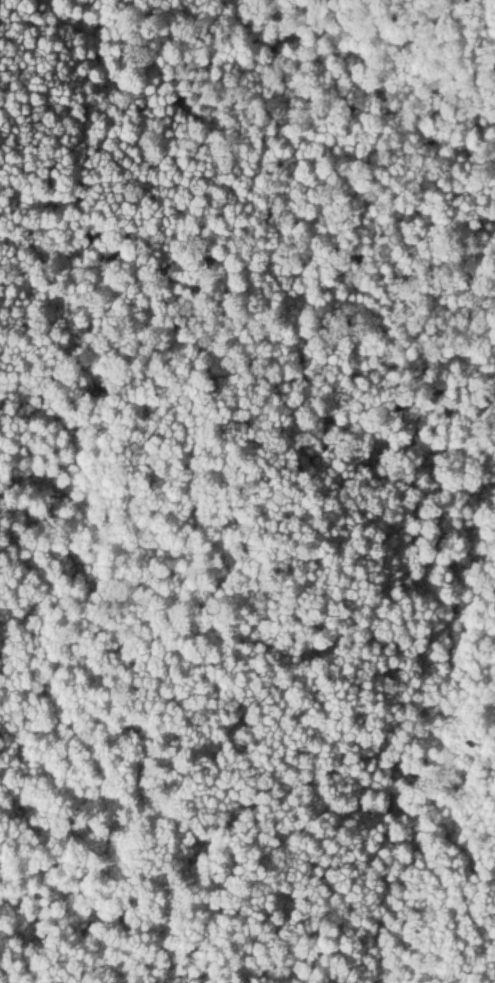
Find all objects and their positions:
road: (339, 73)
road: (426, 85)

